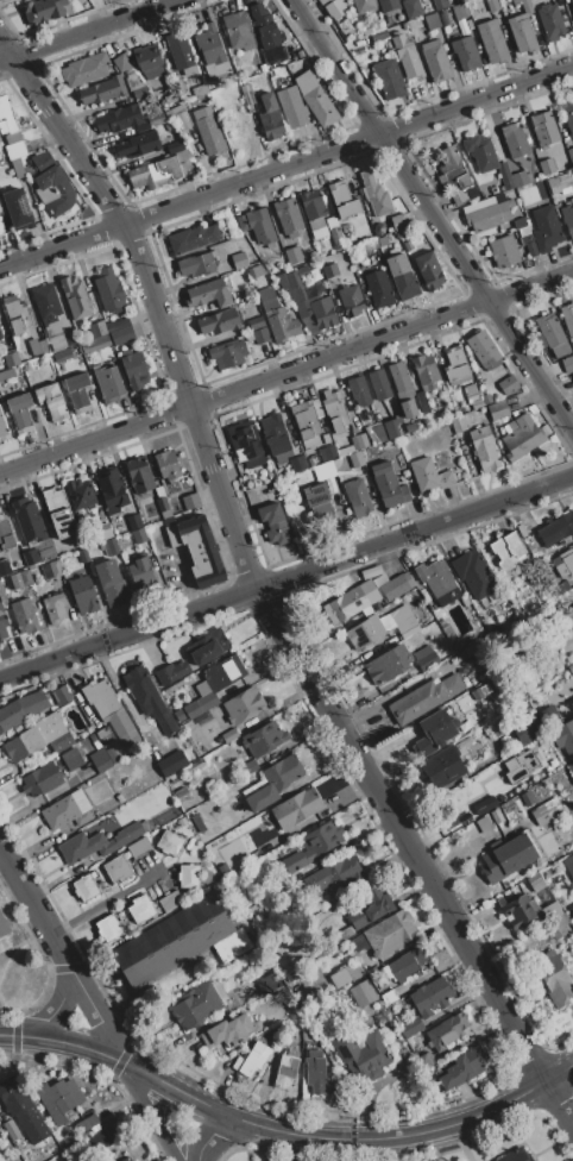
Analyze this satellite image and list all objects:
building: (572, 2)
building: (440, 4)
building: (364, 5)
building: (388, 5)
building: (492, 5)
building: (411, 8)
building: (43, 11)
building: (460, 12)
building: (336, 14)
building: (397, 19)
building: (443, 19)
building: (550, 21)
building: (265, 26)
road: (309, 26)
road: (93, 29)
building: (522, 29)
building: (238, 31)
building: (378, 37)
building: (492, 42)
building: (209, 45)
building: (180, 50)
building: (298, 54)
building: (466, 54)
building: (407, 57)
road: (5, 59)
building: (147, 61)
building: (435, 61)
building: (121, 63)
building: (262, 68)
building: (84, 69)
building: (232, 77)
building: (389, 79)
building: (102, 90)
building: (200, 90)
building: (140, 93)
building: (248, 94)
building: (319, 106)
building: (291, 107)
building: (568, 117)
building: (270, 118)
building: (117, 119)
building: (156, 120)
building: (183, 120)
building: (543, 128)
building: (10, 131)
building: (207, 132)
building: (514, 140)
building: (138, 145)
road: (351, 148)
building: (569, 153)
building: (486, 158)
building: (42, 162)
building: (547, 167)
building: (156, 174)
building: (454, 174)
building: (49, 176)
building: (568, 177)
building: (1, 178)
building: (521, 178)
building: (553, 182)
building: (374, 194)
building: (61, 199)
building: (344, 200)
building: (17, 207)
building: (1, 209)
building: (490, 213)
building: (288, 216)
building: (566, 220)
building: (320, 222)
building: (398, 222)
building: (258, 225)
building: (345, 227)
building: (544, 228)
building: (1, 231)
building: (523, 231)
building: (193, 238)
road: (449, 240)
road: (63, 249)
building: (530, 249)
building: (504, 250)
building: (292, 255)
building: (358, 257)
building: (239, 259)
building: (196, 264)
building: (329, 270)
building: (429, 271)
building: (402, 277)
building: (288, 280)
building: (379, 289)
building: (109, 290)
building: (208, 294)
building: (75, 296)
road: (157, 300)
building: (351, 300)
building: (17, 313)
building: (323, 313)
building: (51, 316)
building: (277, 316)
building: (567, 316)
building: (220, 321)
building: (257, 331)
building: (1, 334)
building: (108, 334)
building: (553, 334)
road: (385, 340)
building: (2, 345)
building: (37, 346)
building: (483, 349)
building: (228, 353)
building: (62, 354)
building: (11, 359)
building: (567, 364)
building: (455, 366)
building: (134, 369)
building: (426, 370)
building: (7, 374)
building: (399, 379)
building: (108, 383)
building: (379, 384)
building: (508, 385)
building: (359, 391)
building: (77, 393)
building: (476, 396)
building: (51, 401)
building: (422, 402)
building: (390, 403)
building: (408, 408)
building: (334, 410)
building: (498, 410)
building: (20, 413)
building: (307, 422)
building: (458, 423)
building: (410, 427)
building: (4, 428)
building: (385, 431)
building: (522, 435)
building: (275, 438)
road: (99, 440)
building: (359, 441)
building: (245, 444)
building: (485, 448)
building: (345, 451)
building: (308, 452)
building: (327, 452)
building: (355, 459)
building: (309, 462)
building: (297, 464)
building: (168, 465)
building: (327, 470)
building: (139, 475)
building: (429, 475)
building: (270, 477)
building: (389, 485)
building: (291, 488)
building: (112, 490)
building: (159, 491)
building: (80, 494)
building: (358, 497)
building: (190, 501)
building: (317, 502)
building: (180, 506)
building: (163, 507)
building: (58, 514)
building: (168, 521)
building: (133, 522)
building: (273, 525)
building: (517, 526)
building: (525, 526)
building: (558, 529)
building: (106, 531)
building: (32, 533)
building: (6, 534)
building: (139, 535)
building: (111, 546)
building: (197, 550)
building: (508, 550)
building: (83, 556)
building: (563, 563)
building: (17, 565)
building: (4, 567)
building: (53, 573)
building: (141, 575)
building: (20, 579)
road: (284, 579)
building: (379, 579)
building: (437, 582)
building: (111, 583)
building: (479, 583)
building: (396, 586)
building: (559, 589)
building: (1, 590)
building: (83, 595)
building: (351, 602)
building: (52, 608)
building: (24, 615)
building: (569, 615)
building: (4, 622)
building: (408, 626)
building: (365, 633)
building: (448, 634)
building: (207, 647)
building: (424, 658)
building: (388, 664)
building: (171, 672)
building: (222, 672)
building: (483, 692)
building: (61, 695)
building: (204, 696)
building: (100, 697)
building: (423, 697)
building: (149, 703)
building: (559, 704)
building: (243, 705)
building: (21, 709)
building: (190, 710)
building: (178, 715)
building: (552, 715)
building: (248, 723)
building: (121, 728)
building: (528, 730)
building: (435, 732)
building: (193, 734)
building: (105, 735)
building: (229, 735)
building: (563, 738)
building: (58, 739)
building: (262, 740)
building: (215, 743)
building: (505, 743)
building: (23, 745)
building: (201, 753)
building: (112, 754)
building: (70, 759)
building: (100, 760)
building: (527, 760)
building: (172, 763)
building: (195, 765)
building: (248, 767)
building: (442, 767)
building: (571, 768)
building: (40, 779)
building: (272, 782)
building: (180, 792)
building: (119, 798)
building: (527, 798)
building: (141, 799)
building: (485, 805)
building: (292, 809)
building: (67, 810)
building: (546, 810)
building: (174, 811)
building: (496, 816)
building: (196, 824)
building: (322, 839)
building: (170, 842)
building: (96, 843)
building: (139, 847)
building: (266, 847)
road: (416, 851)
road: (1, 852)
building: (509, 856)
building: (296, 861)
building: (568, 864)
building: (117, 868)
building: (189, 876)
building: (335, 879)
building: (535, 883)
building: (84, 887)
building: (170, 900)
road: (100, 905)
building: (140, 908)
road: (36, 909)
building: (369, 909)
building: (518, 910)
building: (572, 910)
building: (330, 915)
building: (554, 920)
building: (4, 924)
building: (108, 927)
building: (345, 933)
building: (384, 936)
building: (4, 942)
building: (180, 942)
building: (410, 962)
building: (355, 971)
building: (553, 978)
building: (363, 993)
building: (389, 996)
building: (430, 997)
building: (197, 1003)
road: (56, 1008)
road: (95, 1016)
building: (353, 1024)
building: (411, 1027)
building: (447, 1030)
building: (227, 1031)
building: (361, 1054)
building: (252, 1059)
building: (424, 1060)
building: (464, 1067)
building: (285, 1068)
building: (316, 1072)
road: (563, 1077)
building: (58, 1099)
building: (20, 1107)
road: (151, 1110)
building: (86, 1123)
road: (273, 1128)
building: (11, 1130)
road: (208, 1136)
building: (100, 1140)
building: (55, 1150)
building: (26, 1155)
building: (514, 1155)
building: (127, 1159)

